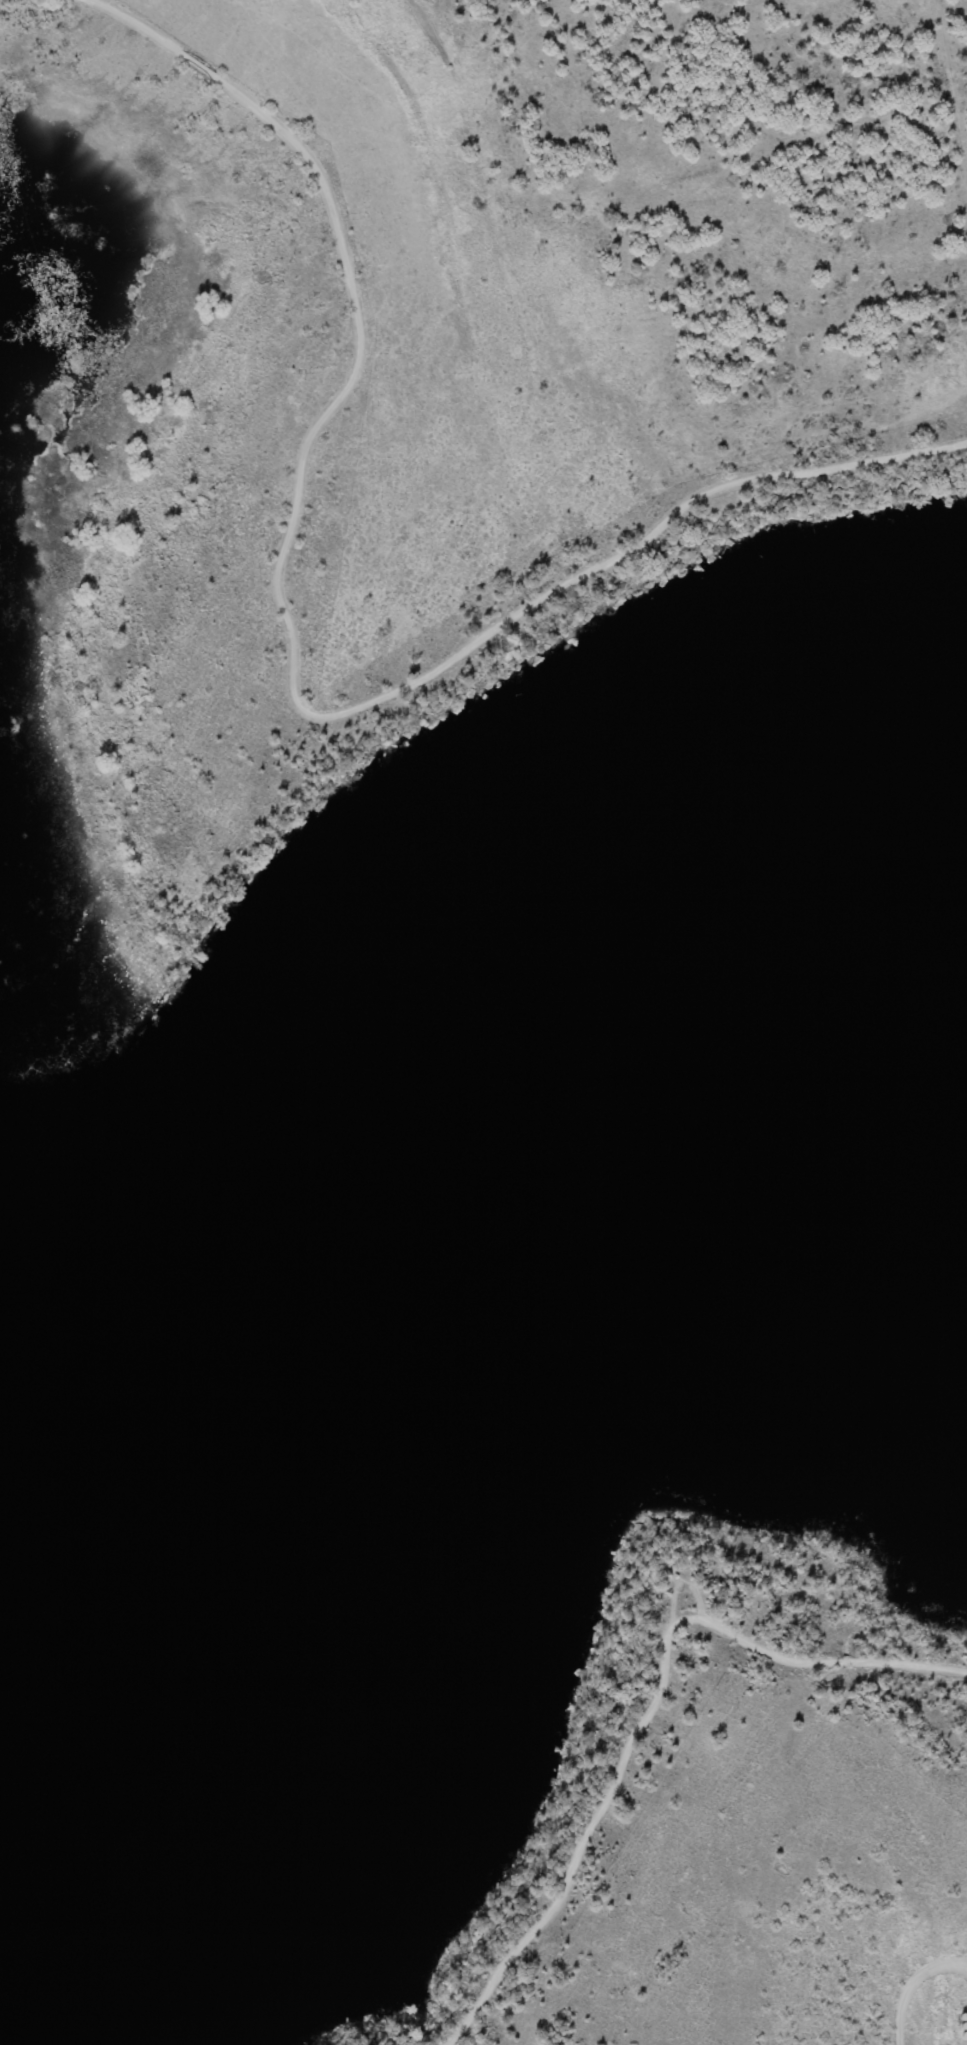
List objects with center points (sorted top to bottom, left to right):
park: (471, 536)
road: (290, 653)
road: (648, 1708)

